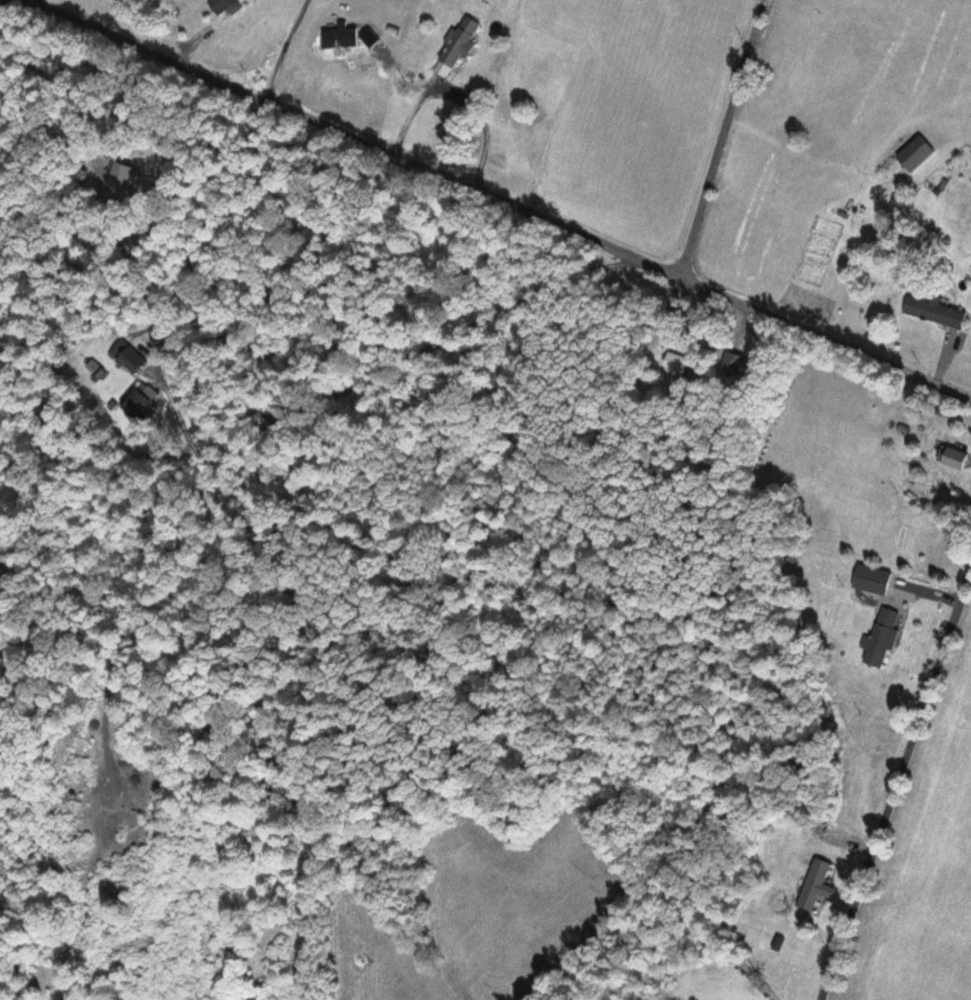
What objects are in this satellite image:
building: (222, 6)
building: (460, 41)
road: (721, 140)
building: (915, 155)
building: (498, 159)
road: (498, 200)
building: (934, 311)
building: (132, 361)
building: (678, 365)
building: (137, 405)
building: (955, 459)
building: (882, 637)
road: (896, 785)
building: (814, 885)

